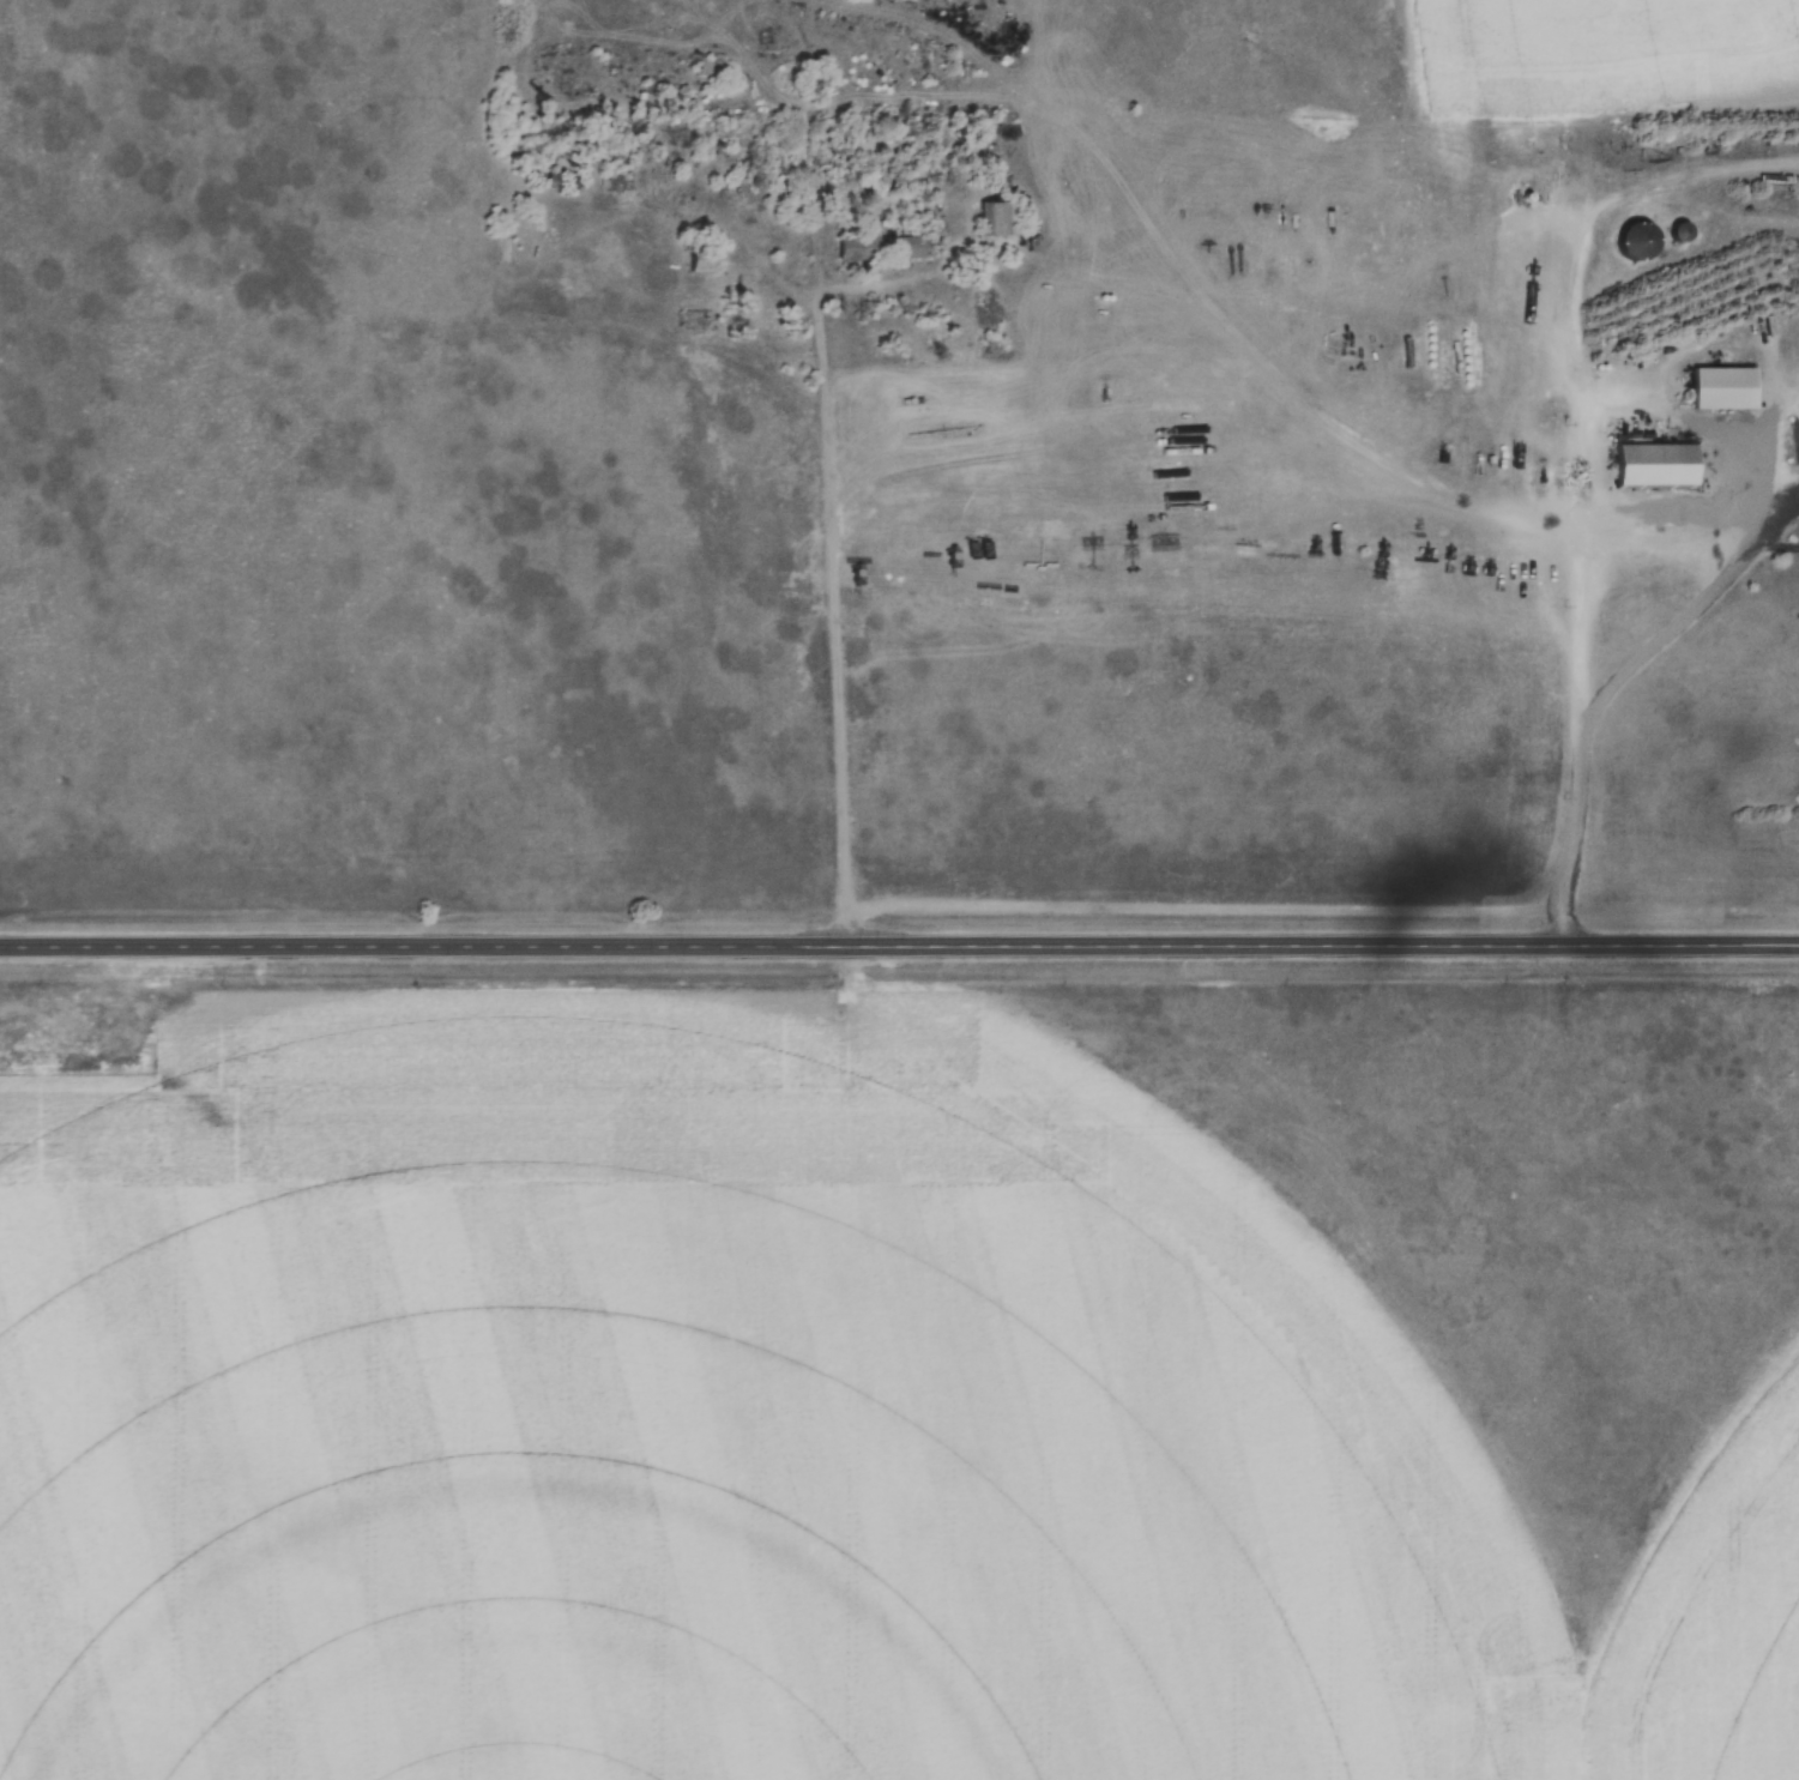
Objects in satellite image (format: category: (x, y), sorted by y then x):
building: (997, 219)
building: (1679, 233)
building: (1636, 242)
building: (853, 247)
building: (913, 247)
building: (700, 263)
building: (1727, 387)
building: (1659, 464)
road: (835, 581)
road: (1611, 687)
road: (899, 945)

